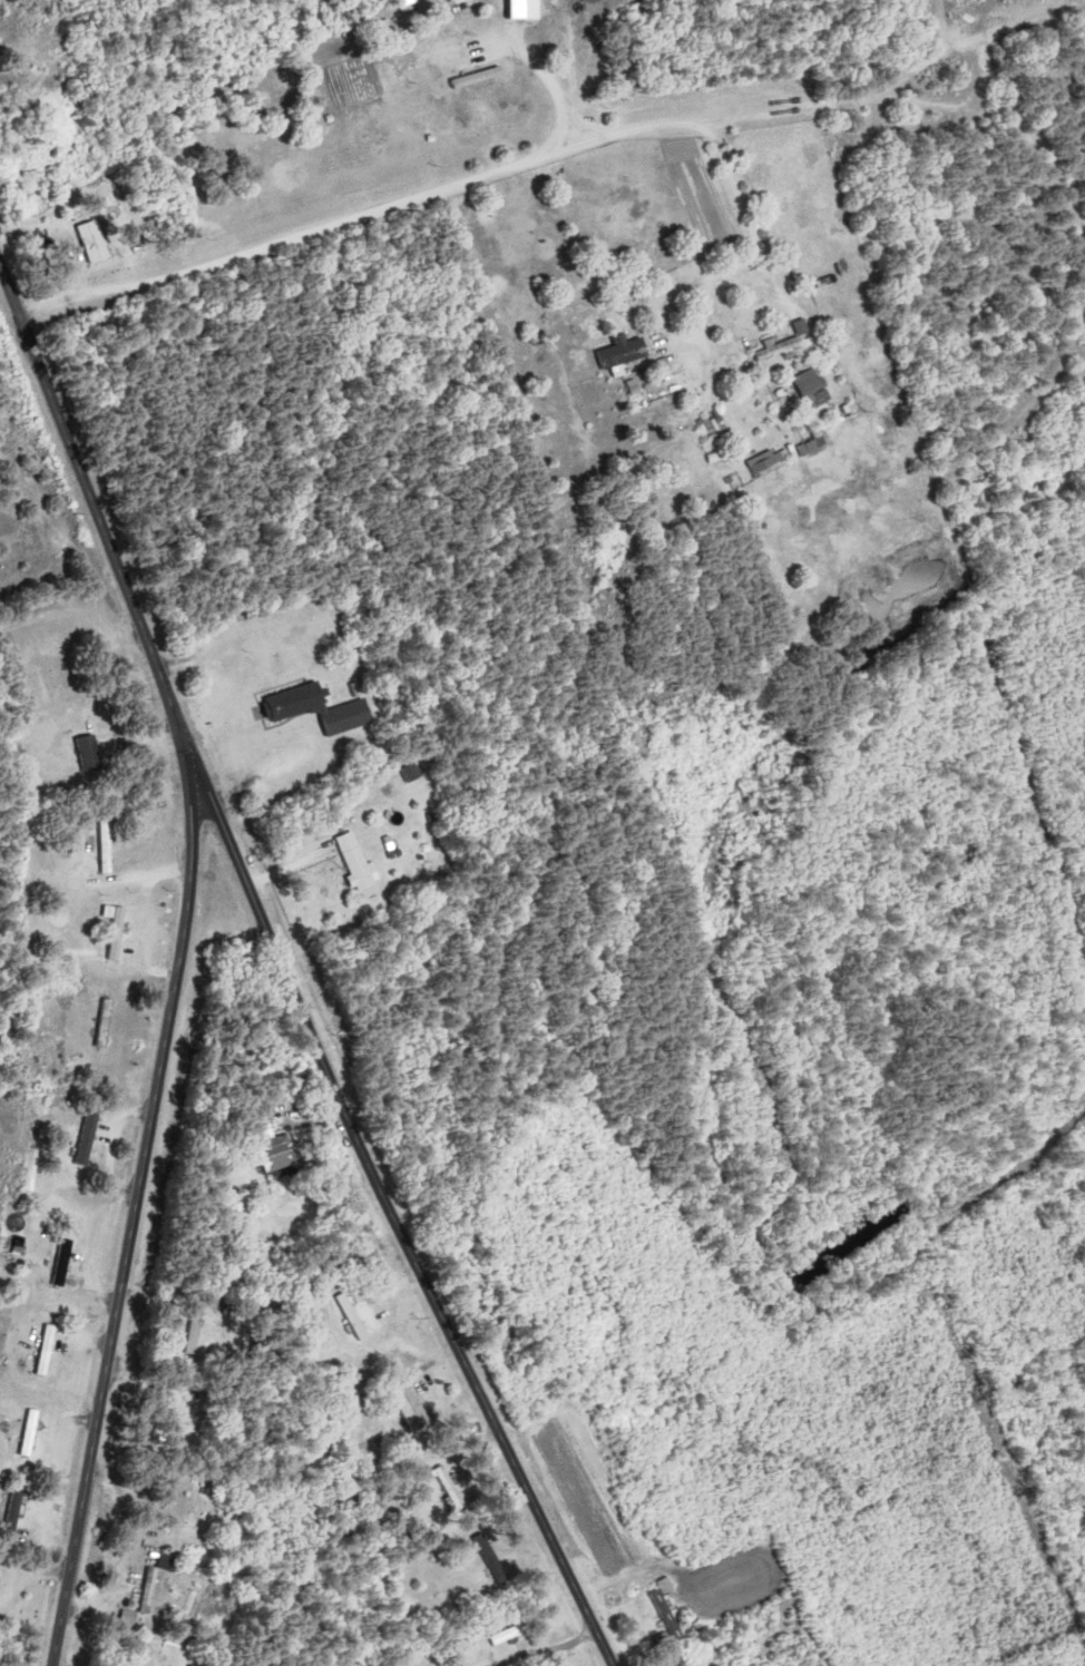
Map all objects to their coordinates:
road: (457, 185)
building: (94, 242)
road: (706, 277)
building: (775, 345)
building: (803, 388)
building: (804, 447)
building: (757, 461)
building: (70, 680)
building: (299, 702)
building: (91, 754)
building: (413, 774)
building: (108, 846)
building: (360, 862)
building: (119, 934)
road: (285, 972)
building: (108, 1022)
building: (90, 1138)
building: (283, 1153)
road: (136, 1215)
building: (67, 1263)
building: (356, 1317)
building: (197, 1335)
building: (48, 1350)
building: (416, 1407)
building: (184, 1427)
building: (35, 1433)
building: (453, 1489)
building: (1, 1586)
building: (157, 1592)
building: (669, 1615)
building: (512, 1636)

